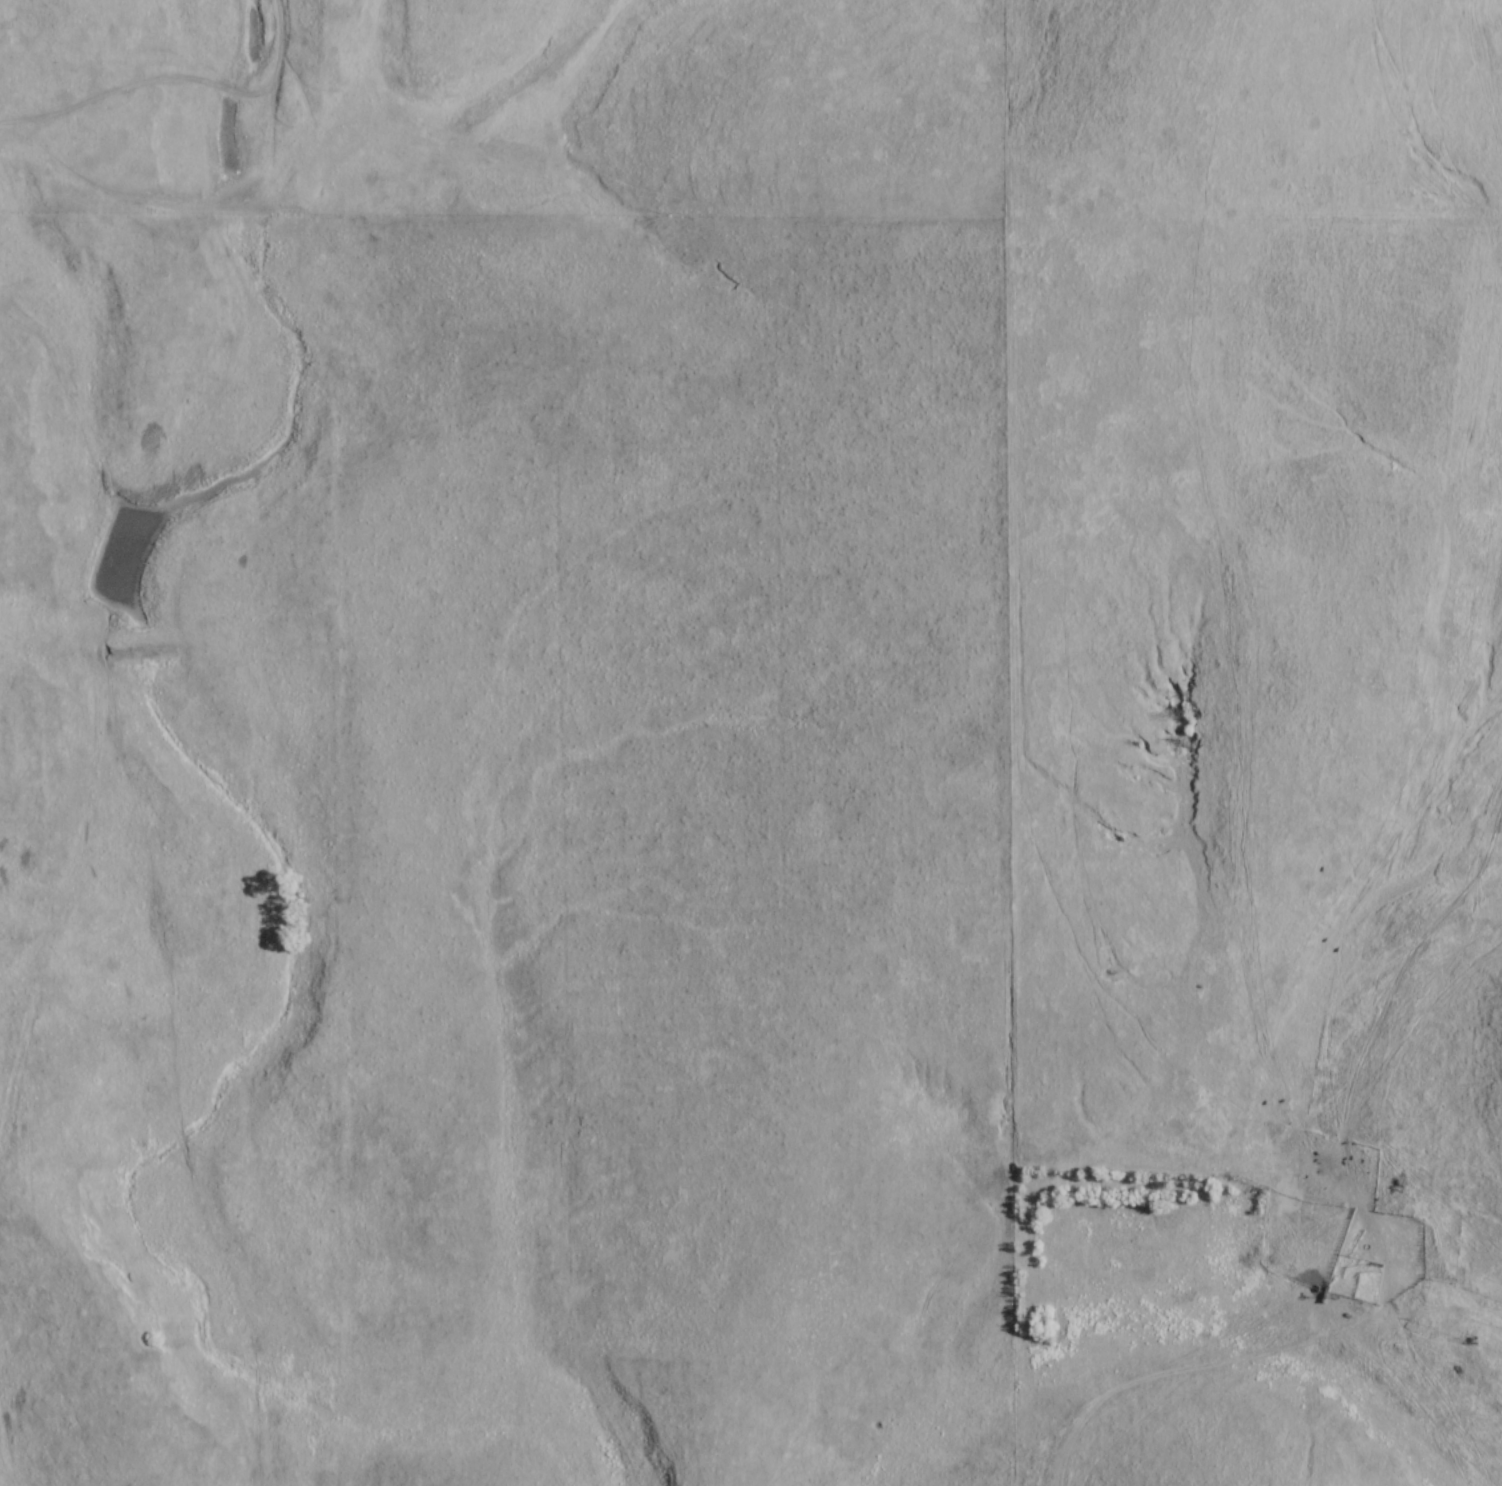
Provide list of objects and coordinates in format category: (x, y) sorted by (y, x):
road: (1202, 1367)

